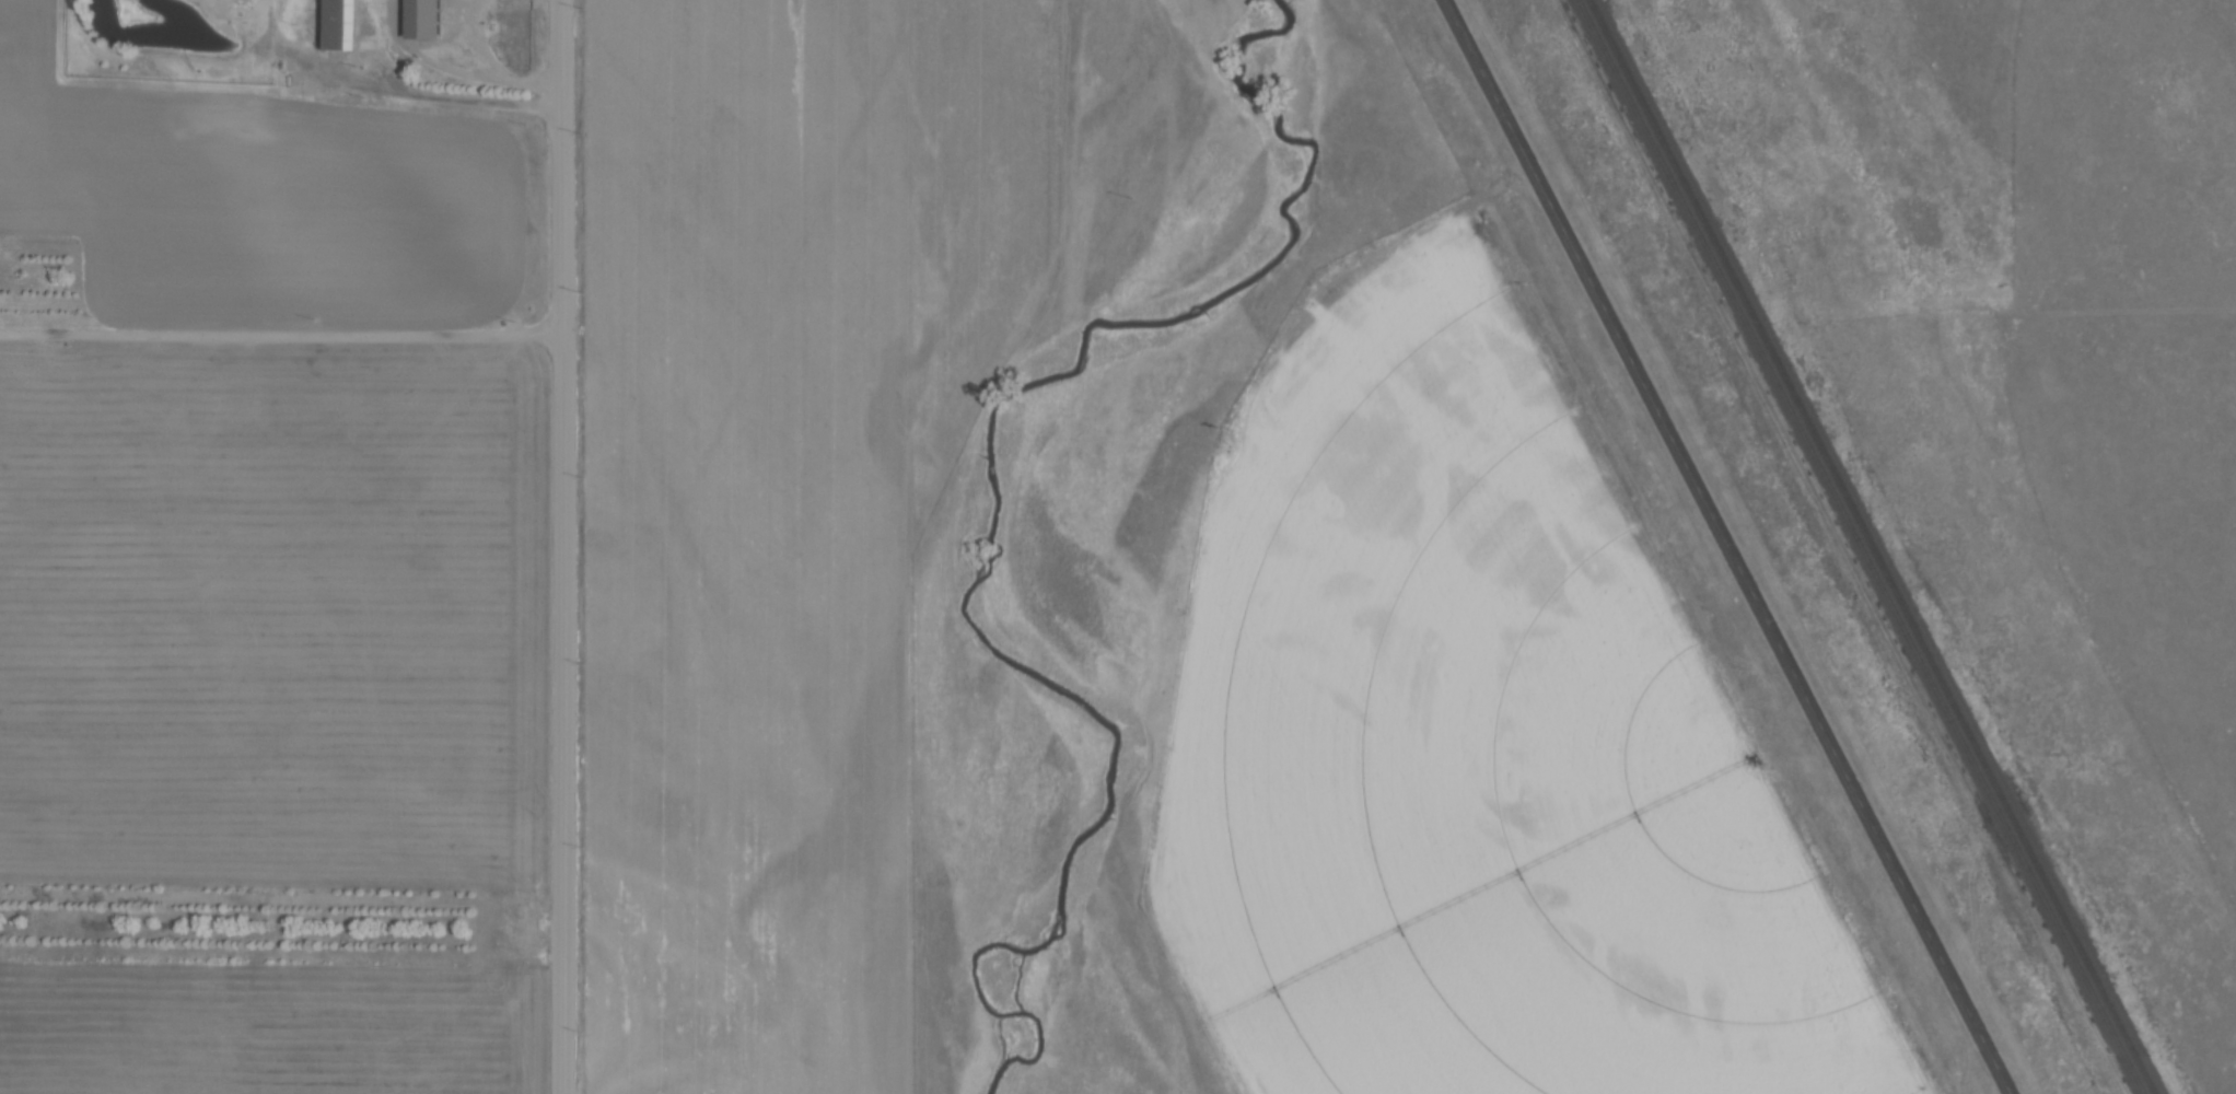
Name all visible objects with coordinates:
road: (283, 0)
building: (340, 23)
road: (461, 72)
road: (395, 92)
crop: (55, 199)
road: (283, 333)
crop: (782, 498)
road: (566, 546)
road: (1730, 547)
railway: (1862, 547)
railway: (1876, 547)
crop: (275, 690)
crop: (1482, 749)

